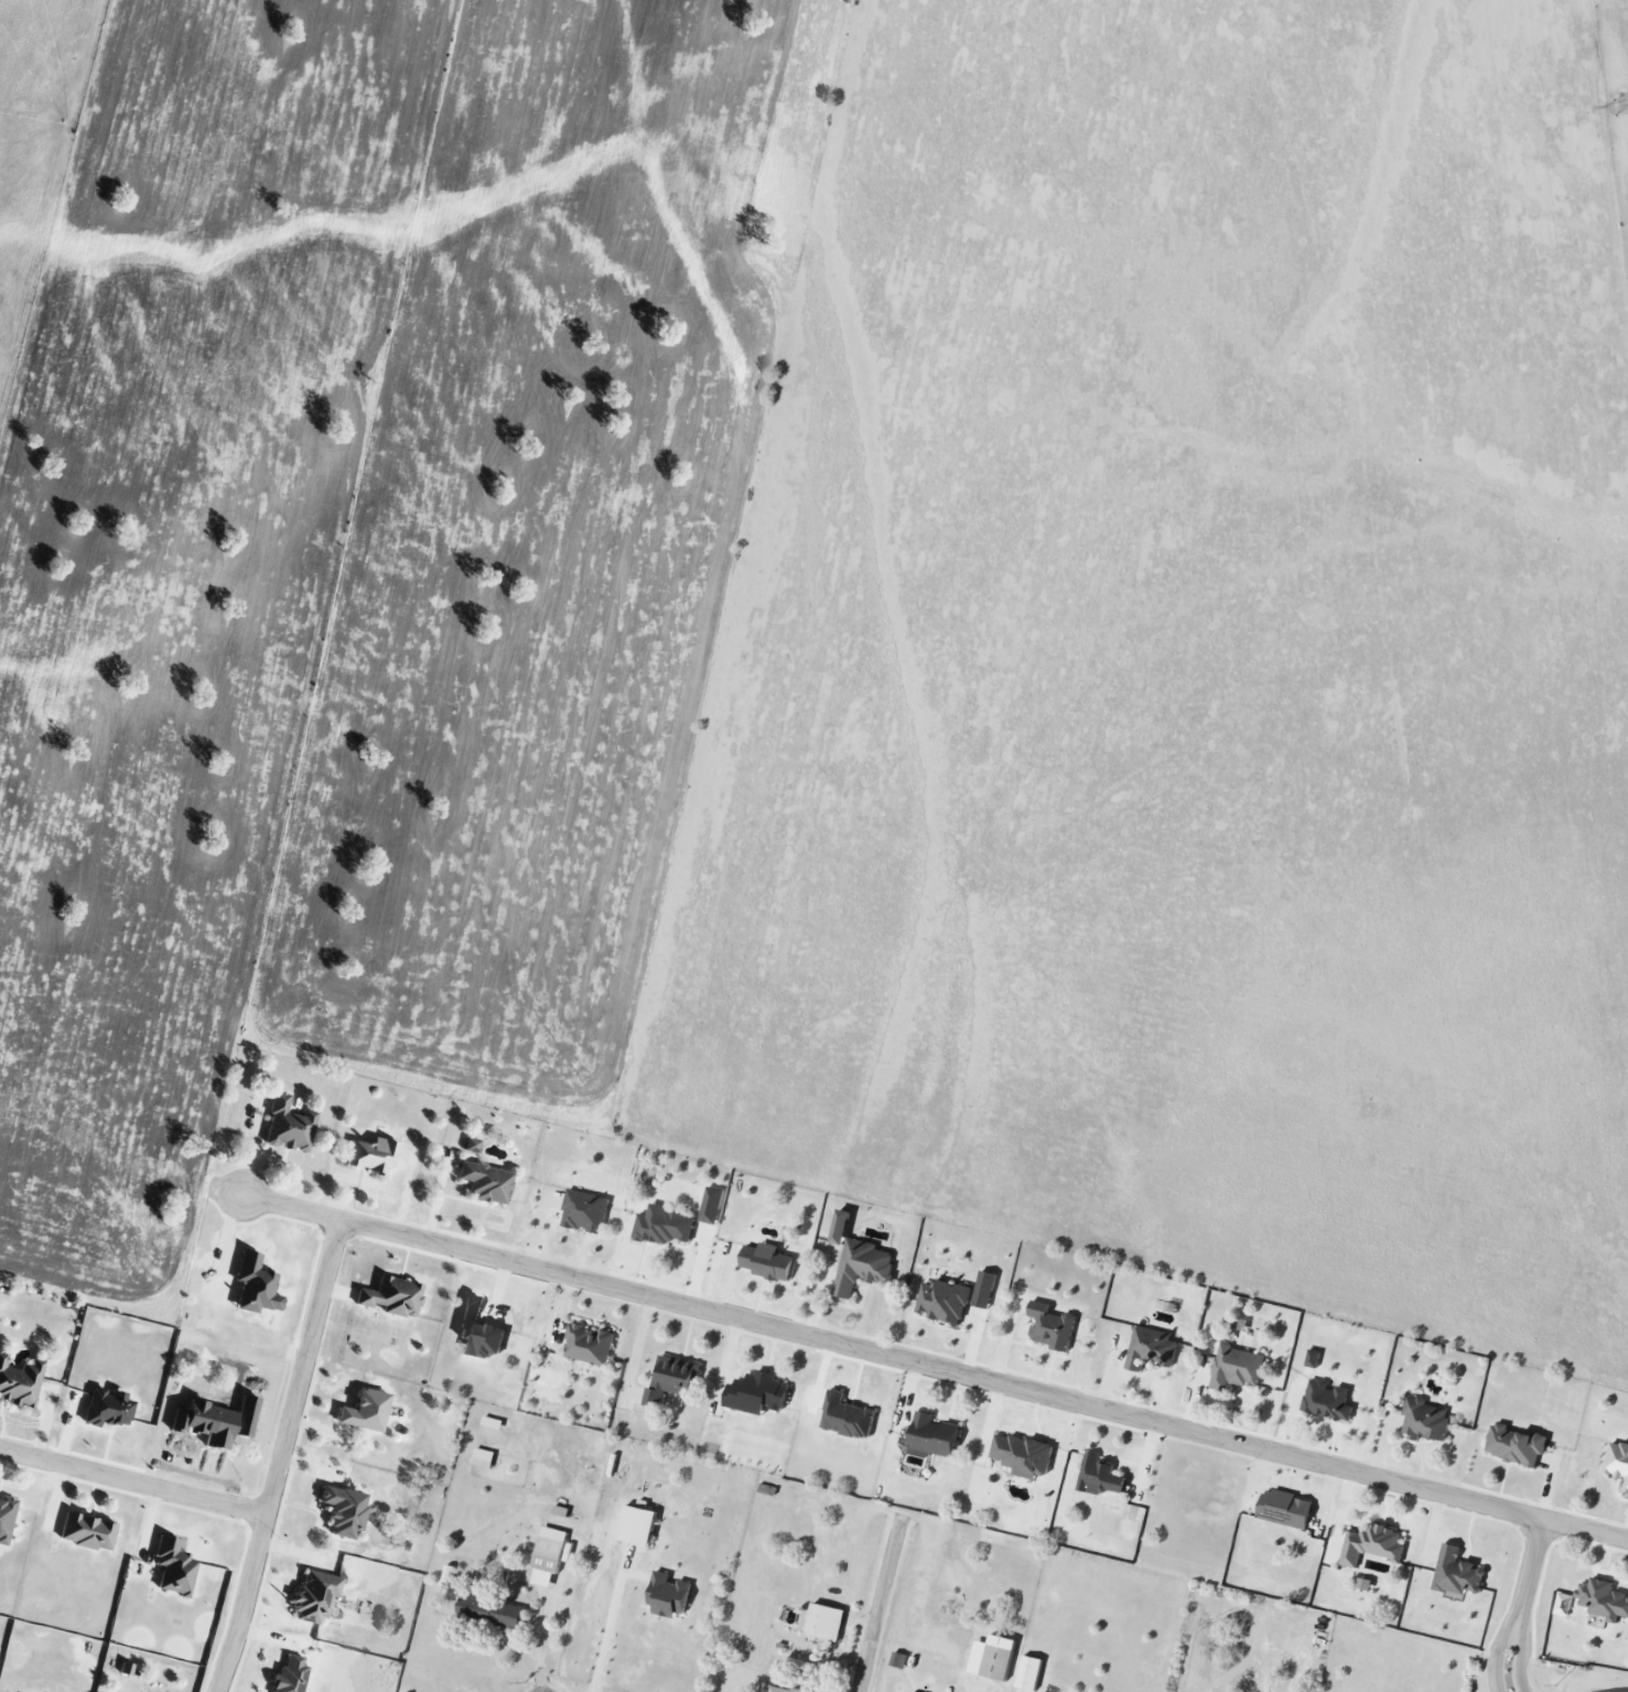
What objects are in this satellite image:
power tower: (1624, 109)
building: (289, 1127)
building: (472, 1145)
building: (374, 1155)
building: (486, 1183)
building: (713, 1205)
building: (586, 1211)
building: (665, 1226)
building: (842, 1227)
building: (769, 1262)
building: (863, 1267)
building: (256, 1285)
building: (985, 1289)
building: (392, 1296)
building: (945, 1301)
building: (1053, 1326)
building: (479, 1332)
building: (590, 1345)
building: (1152, 1348)
building: (1315, 1358)
road: (935, 1368)
building: (1237, 1368)
building: (673, 1378)
building: (19, 1380)
building: (758, 1393)
building: (1329, 1400)
building: (108, 1409)
building: (366, 1411)
building: (849, 1416)
building: (1426, 1420)
building: (494, 1423)
building: (934, 1437)
building: (1516, 1445)
building: (1023, 1455)
road: (281, 1456)
building: (485, 1458)
building: (1618, 1461)
building: (1101, 1476)
road: (133, 1481)
building: (1286, 1509)
building: (344, 1510)
building: (6, 1519)
building: (639, 1526)
building: (87, 1532)
building: (1373, 1544)
building: (549, 1558)
building: (173, 1567)
road: (1530, 1572)
building: (1457, 1573)
building: (1366, 1584)
building: (671, 1595)
building: (314, 1596)
building: (1603, 1599)
road: (883, 1605)
building: (493, 1612)
building: (827, 1623)
road: (610, 1627)
road: (543, 1629)
road: (1496, 1655)
road: (1521, 1658)
building: (899, 1660)
building: (992, 1661)
building: (126, 1669)
building: (1031, 1673)
building: (291, 1675)
building: (779, 1689)

